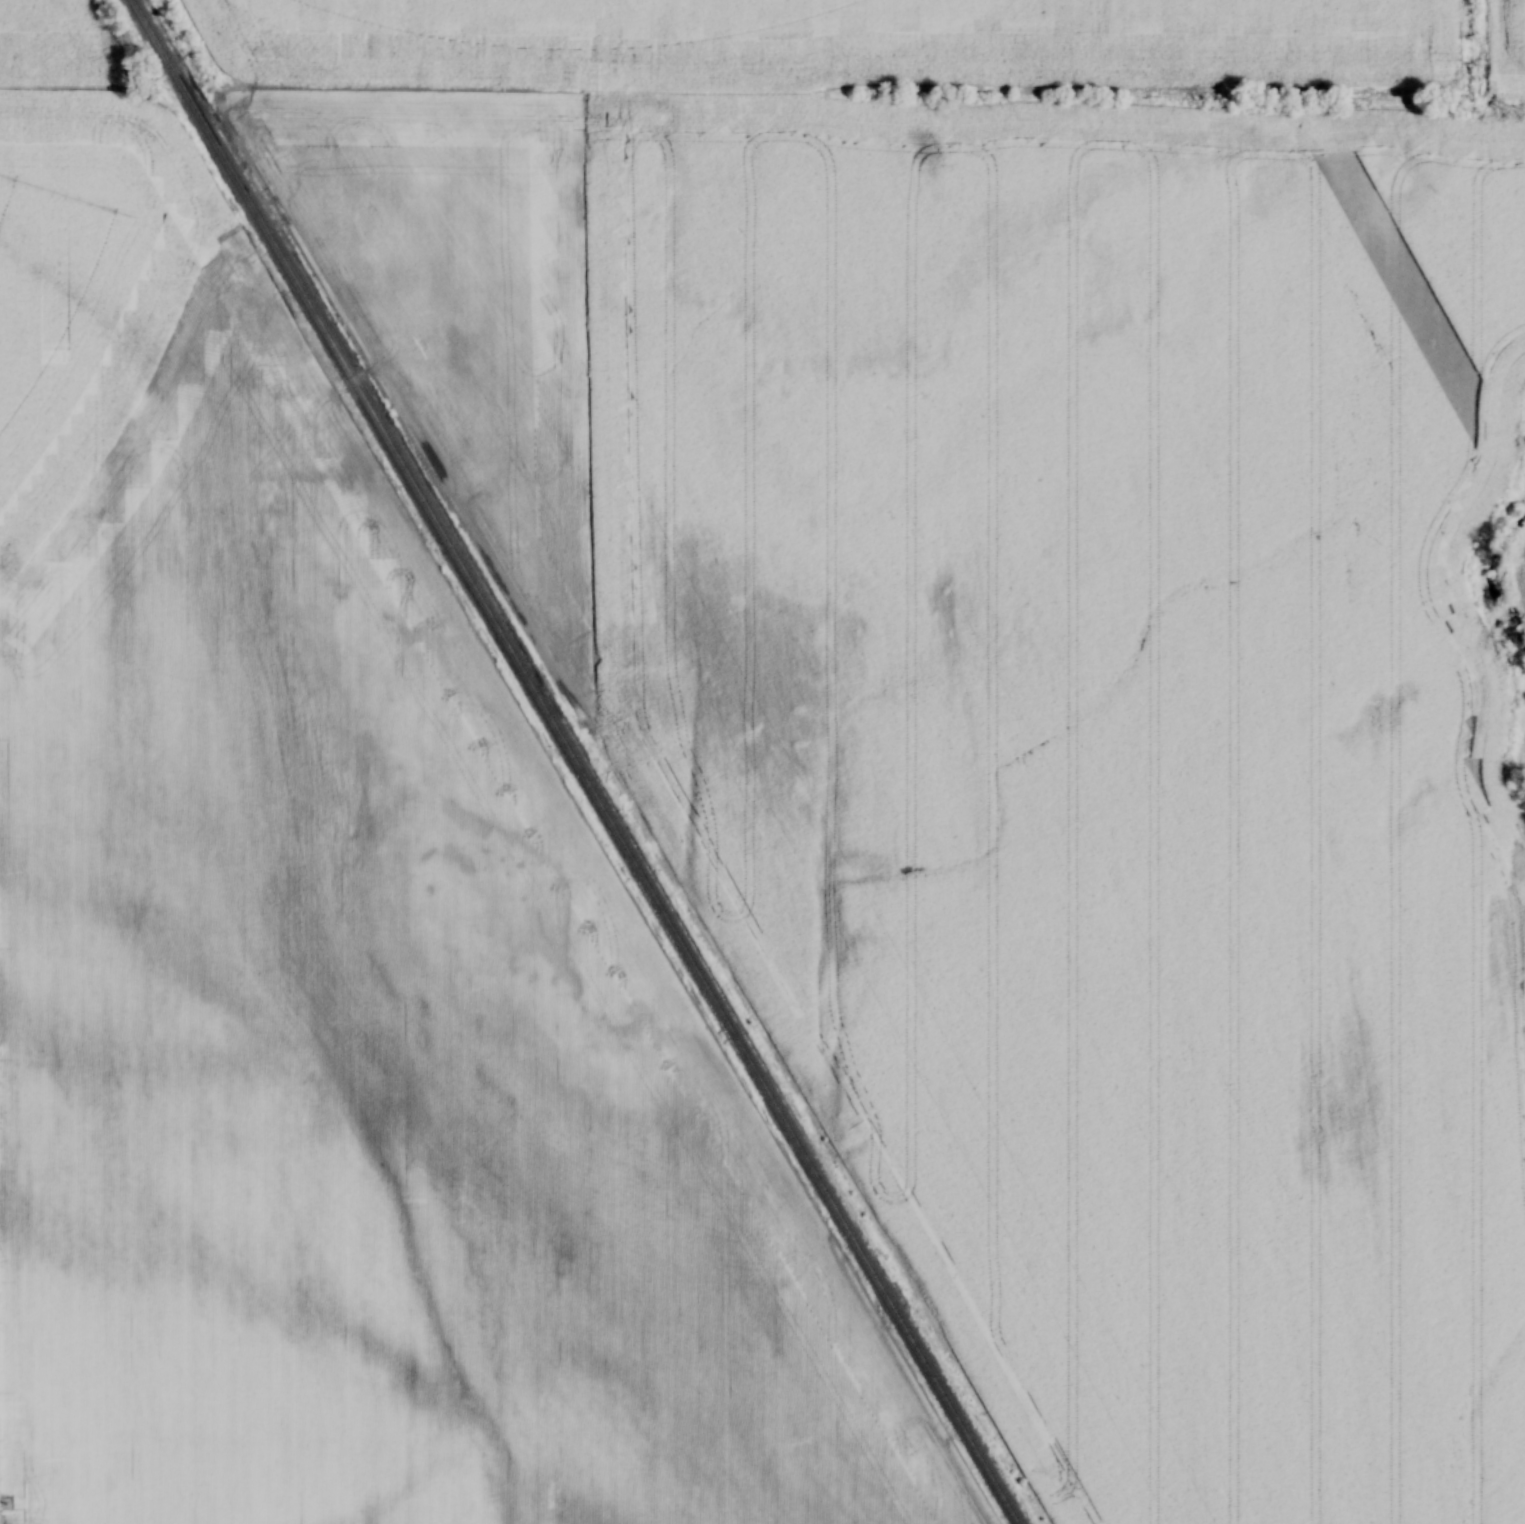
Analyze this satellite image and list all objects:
crop: (1523, 572)
railway: (575, 762)

